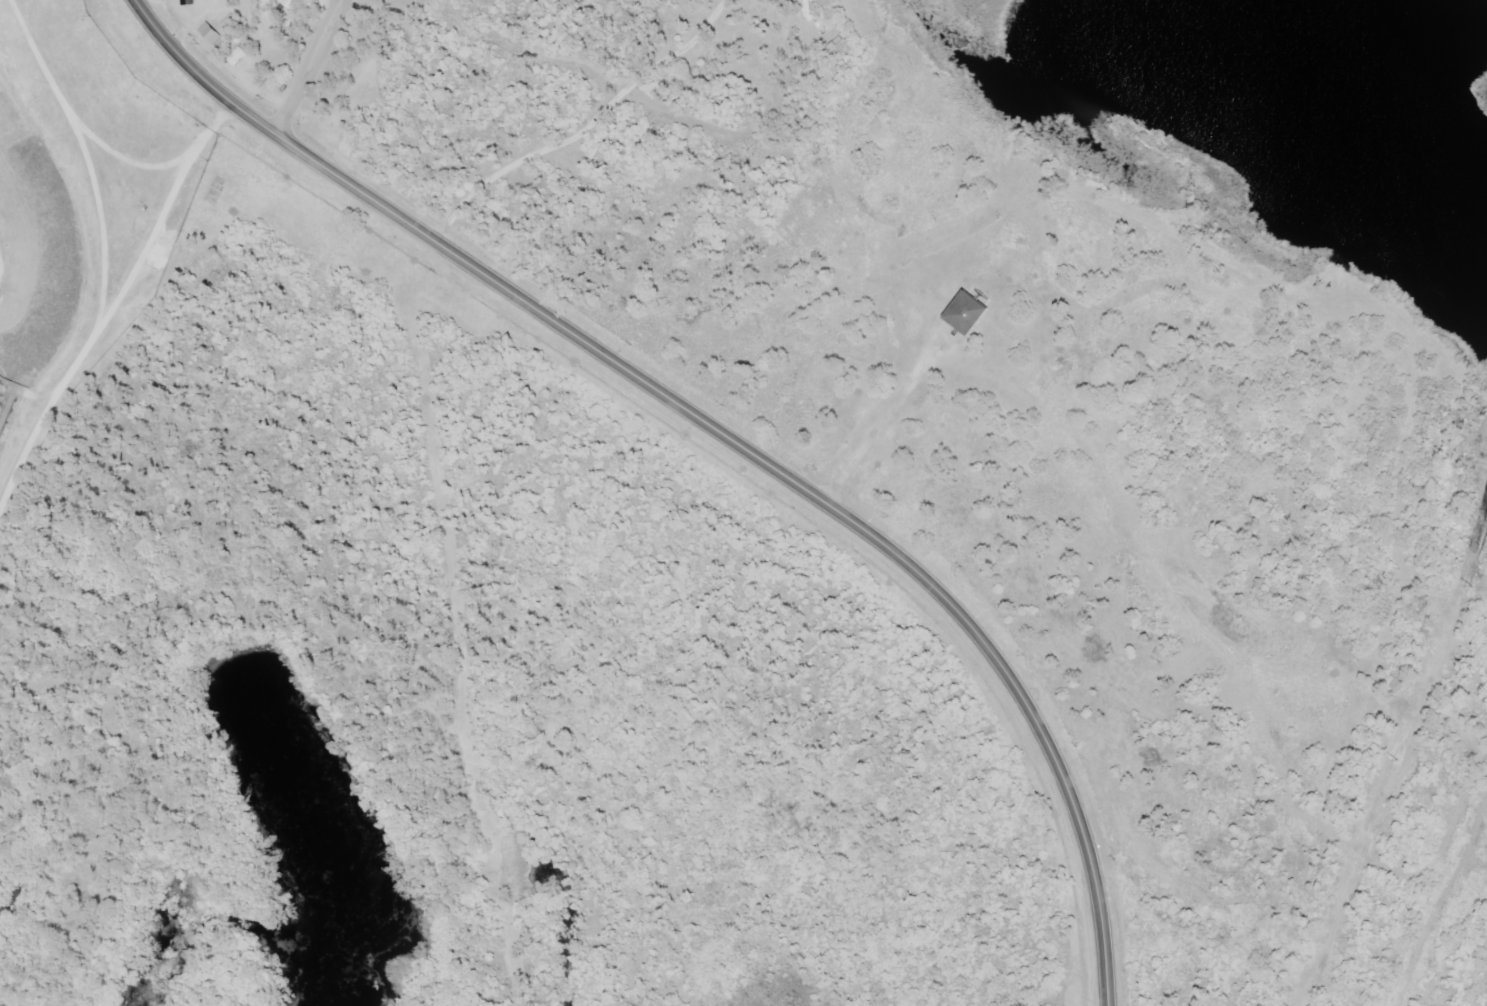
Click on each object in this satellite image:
building: (214, 40)
road: (887, 58)
road: (308, 68)
road: (160, 218)
road: (104, 253)
dam: (60, 295)
building: (1, 302)
building: (965, 315)
road: (722, 434)
power tower: (1468, 583)
road: (469, 654)
power tower: (1395, 761)
railway: (1439, 922)

